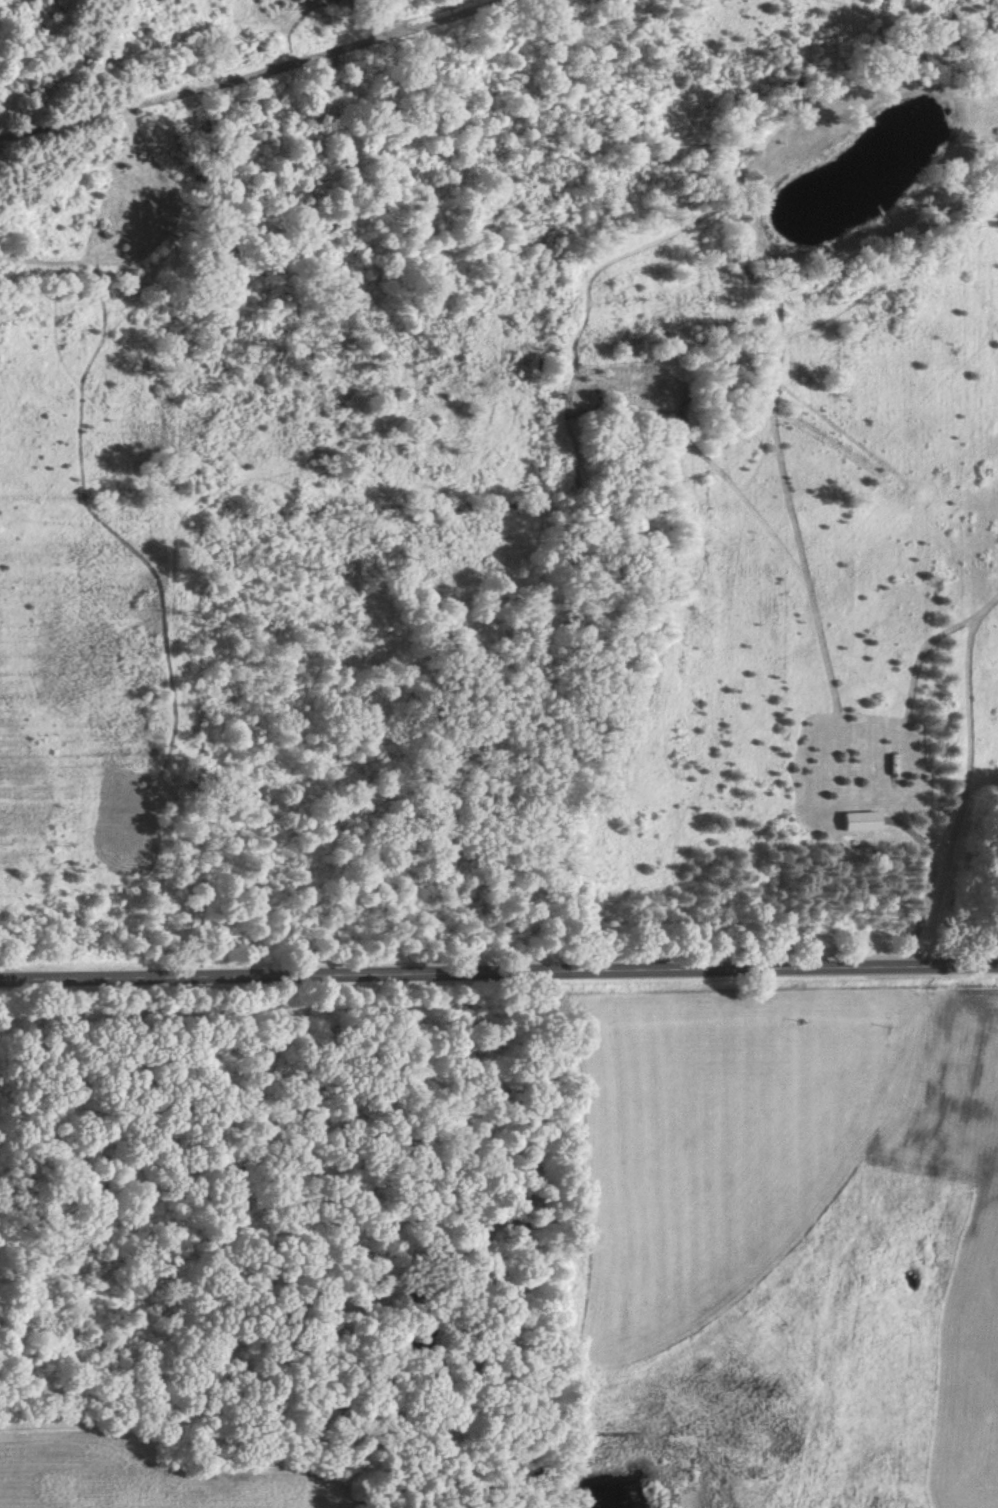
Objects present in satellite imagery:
road: (499, 971)

